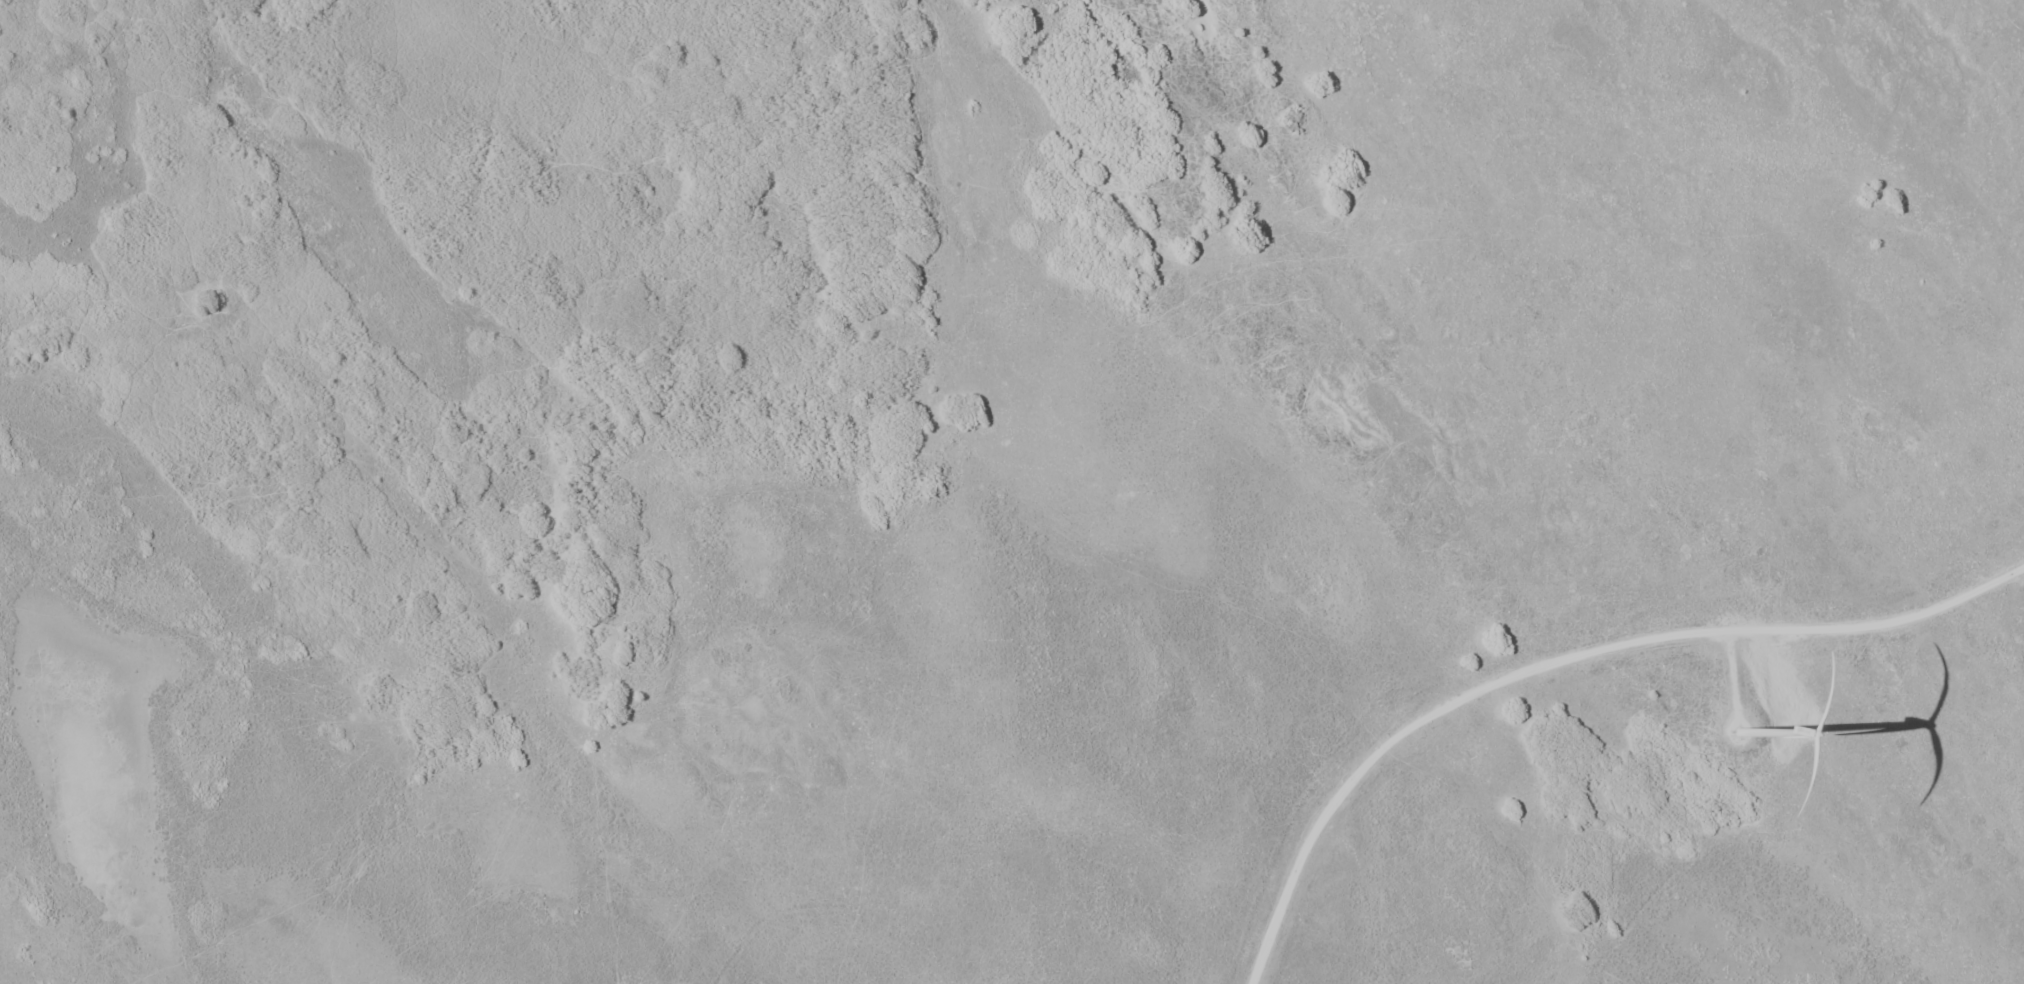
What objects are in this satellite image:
wind turbine: (1753, 734)

